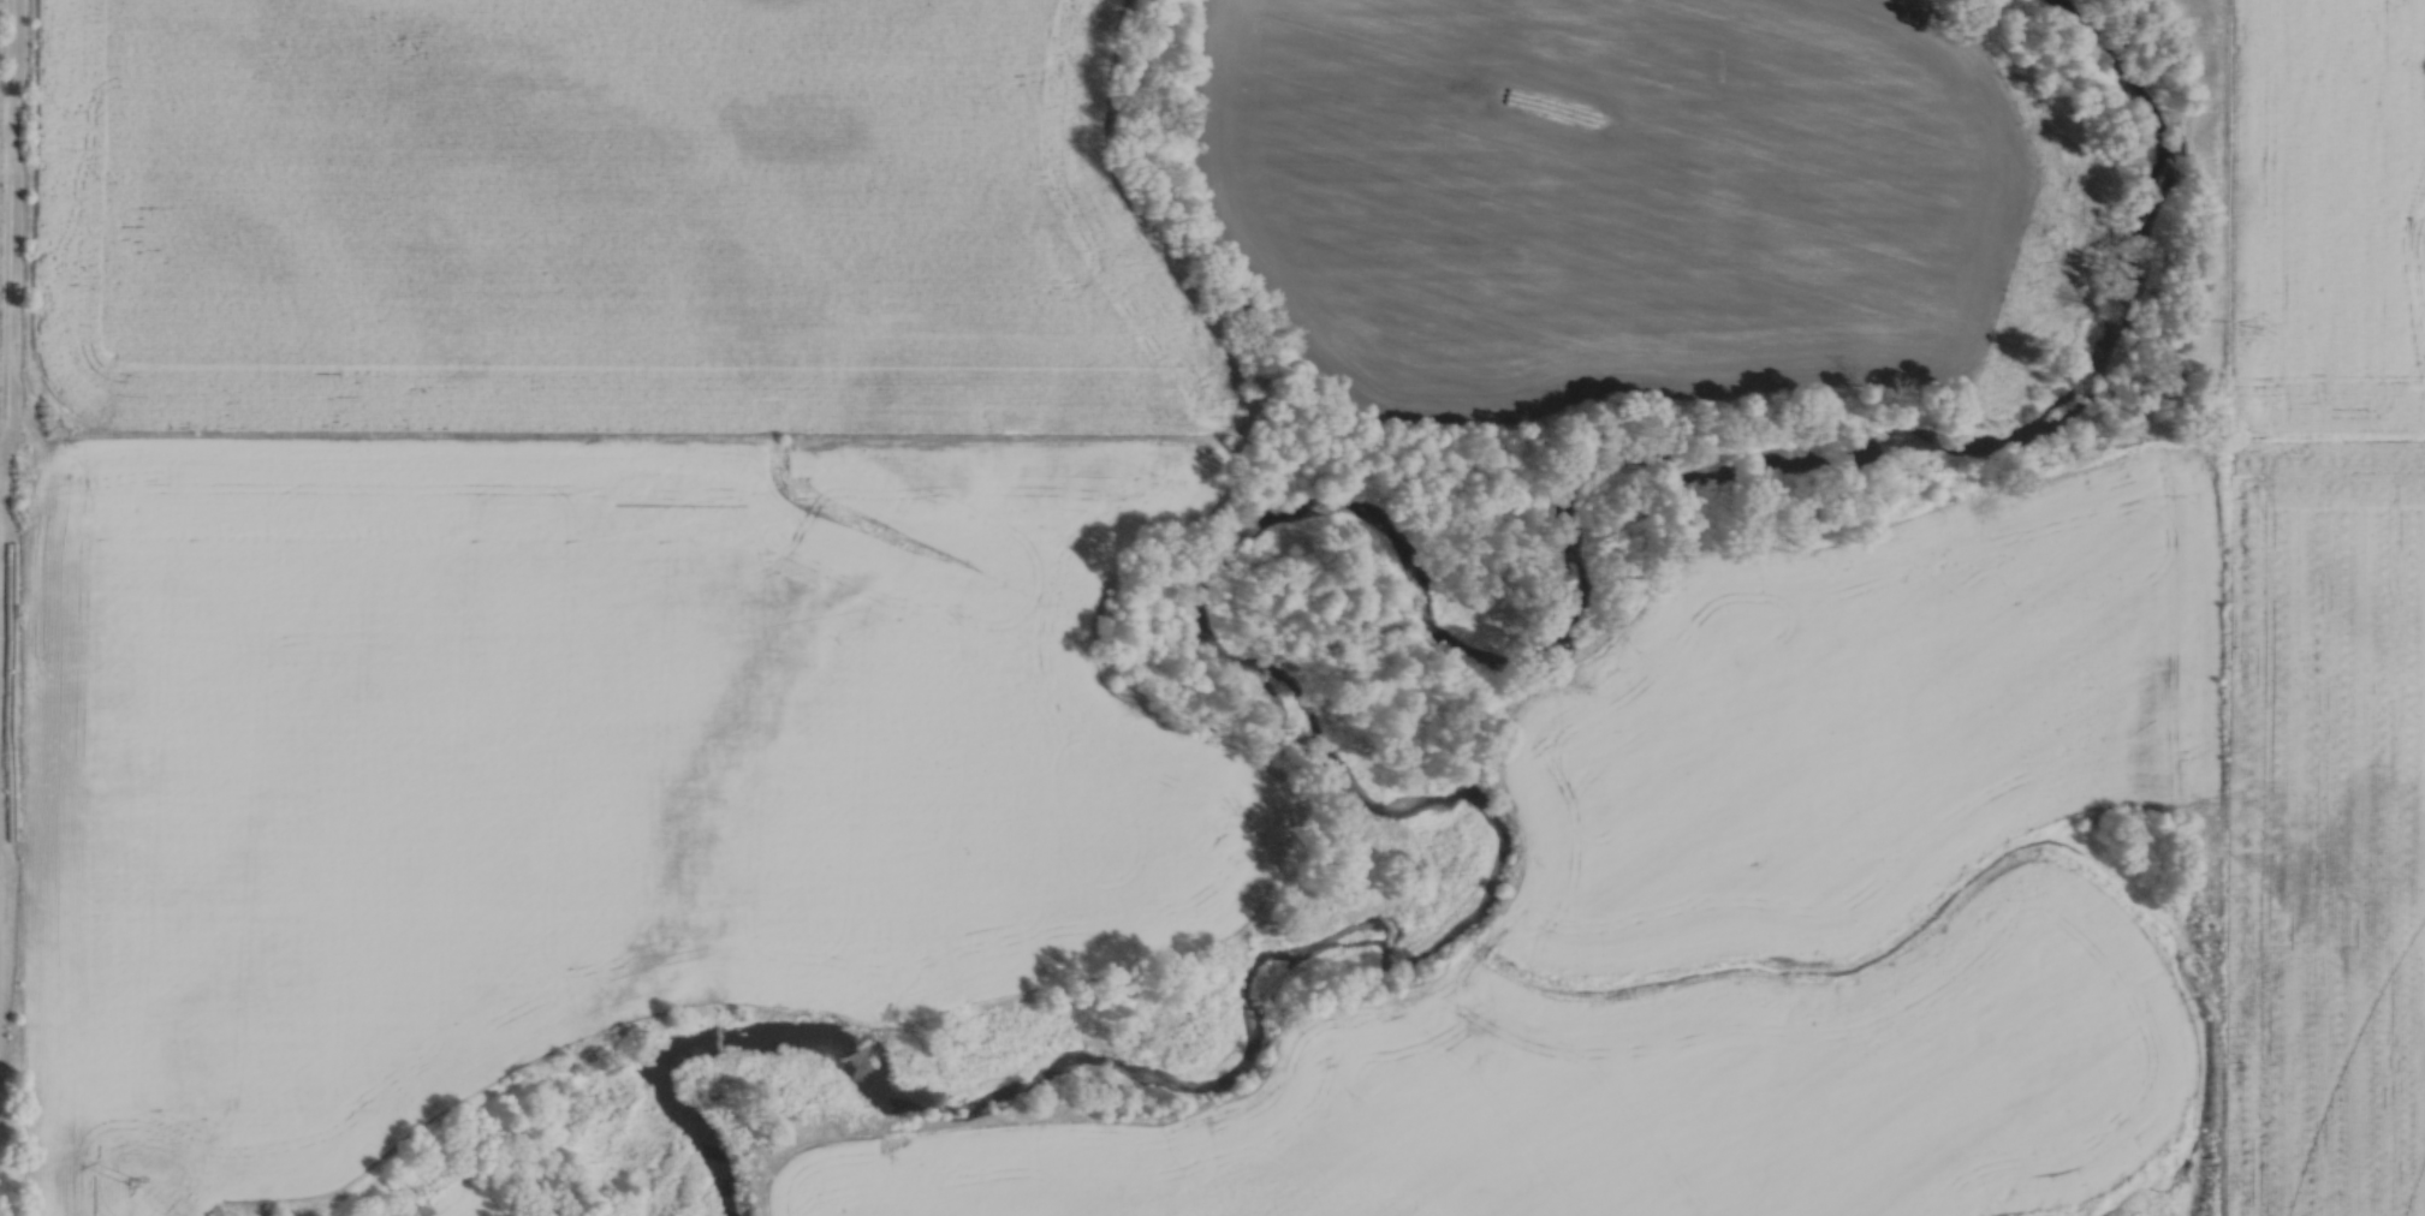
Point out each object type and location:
power tower: (136, 1181)

